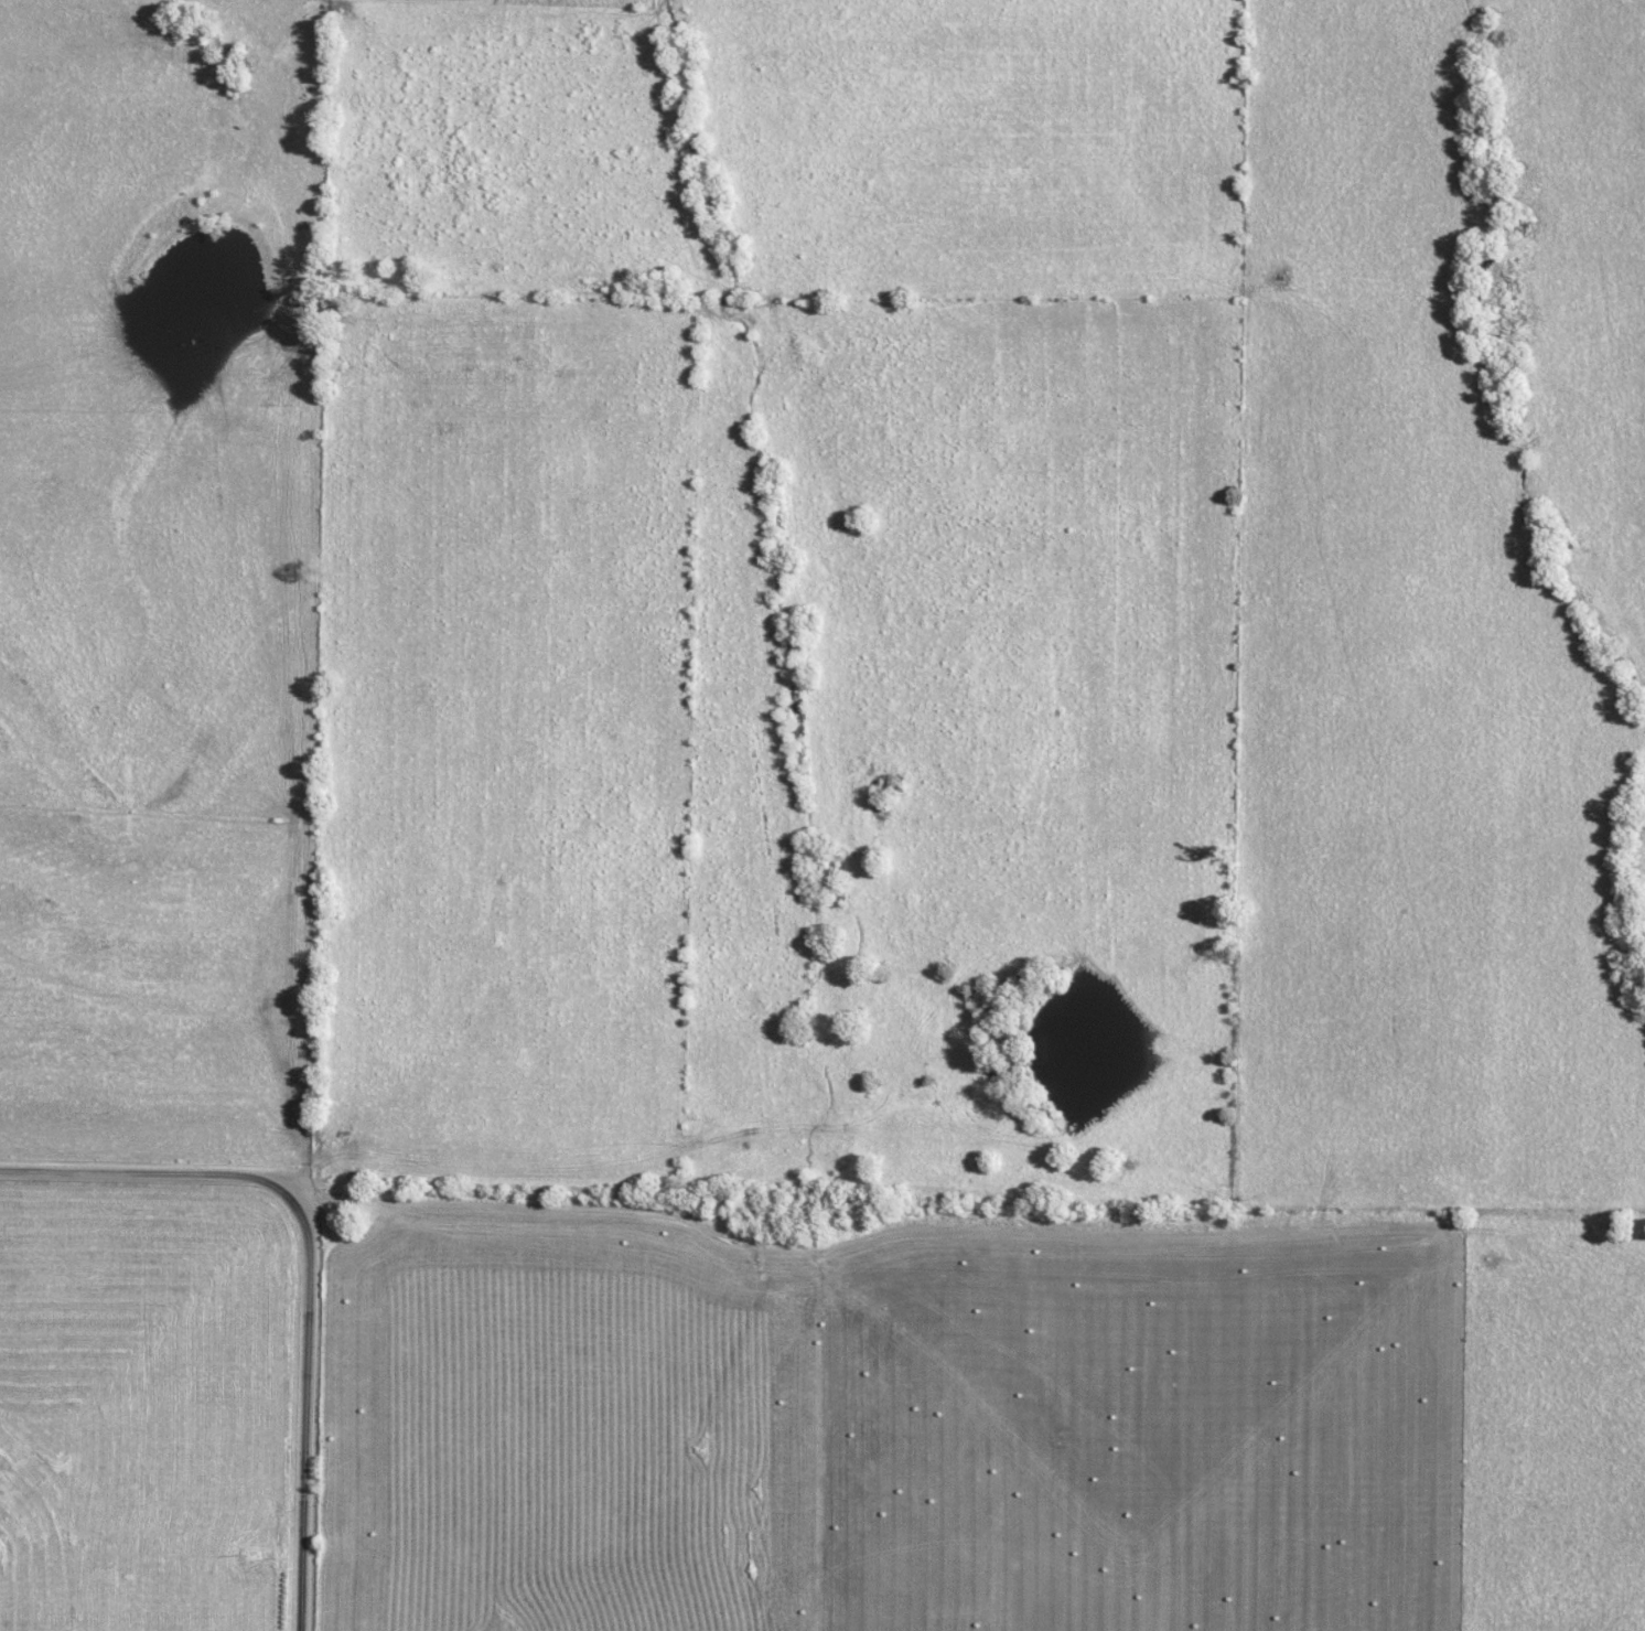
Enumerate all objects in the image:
road: (162, 1173)
road: (307, 1420)

